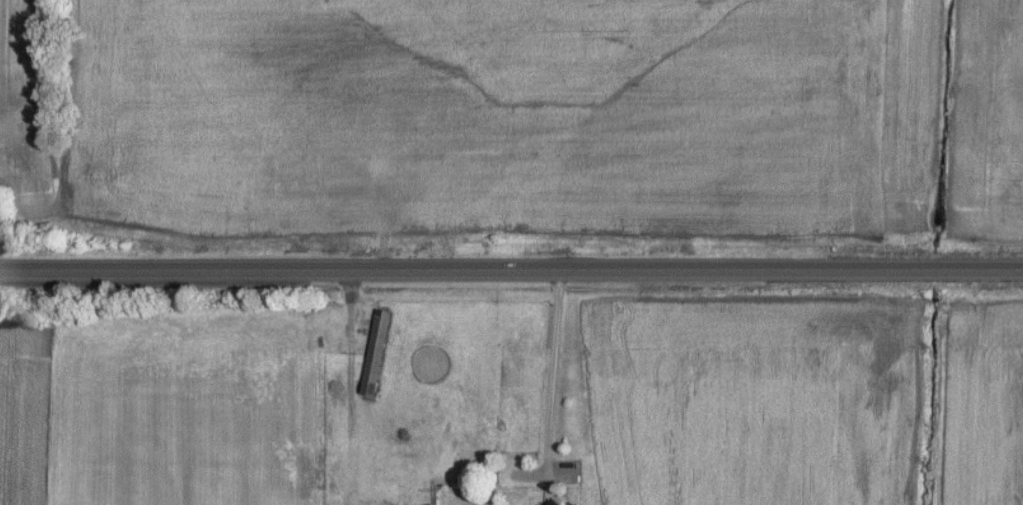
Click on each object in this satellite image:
road: (511, 272)
building: (375, 353)
road: (348, 372)
road: (550, 379)
building: (600, 400)
building: (310, 473)

